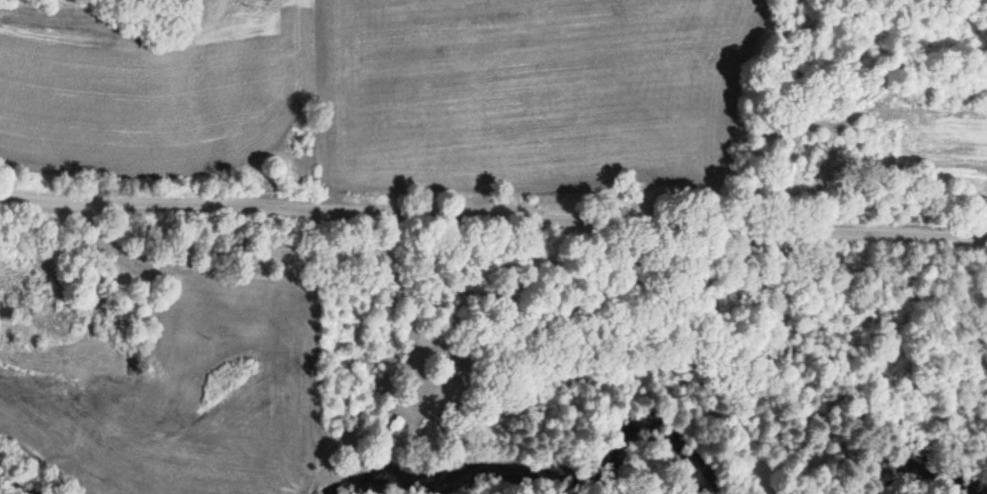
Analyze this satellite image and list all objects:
road: (492, 214)
river: (922, 463)
river: (549, 473)
river: (13, 479)

